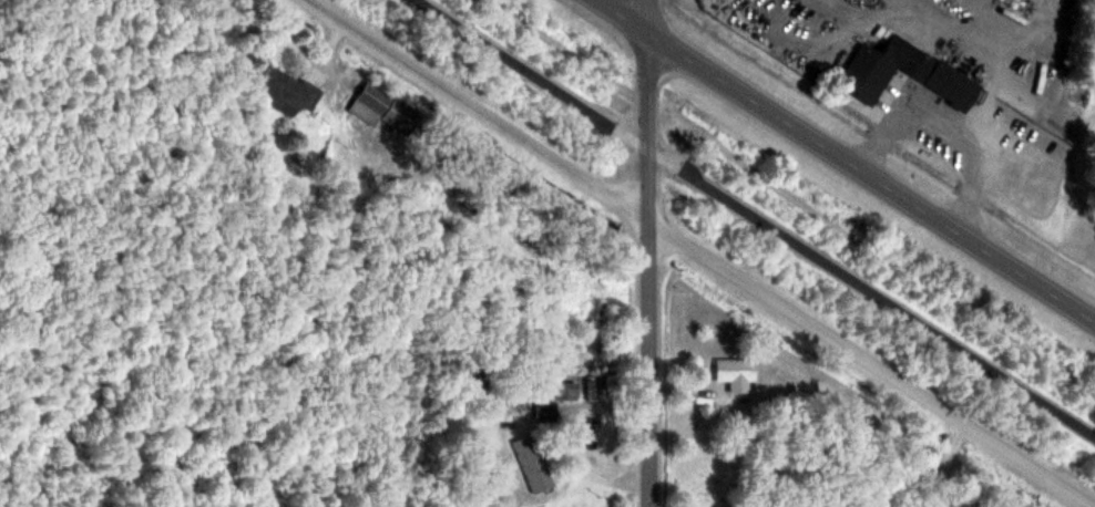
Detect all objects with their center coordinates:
building: (909, 69)
building: (288, 90)
building: (387, 108)
road: (847, 163)
road: (757, 217)
road: (649, 252)
road: (698, 252)
building: (738, 373)
building: (555, 397)

